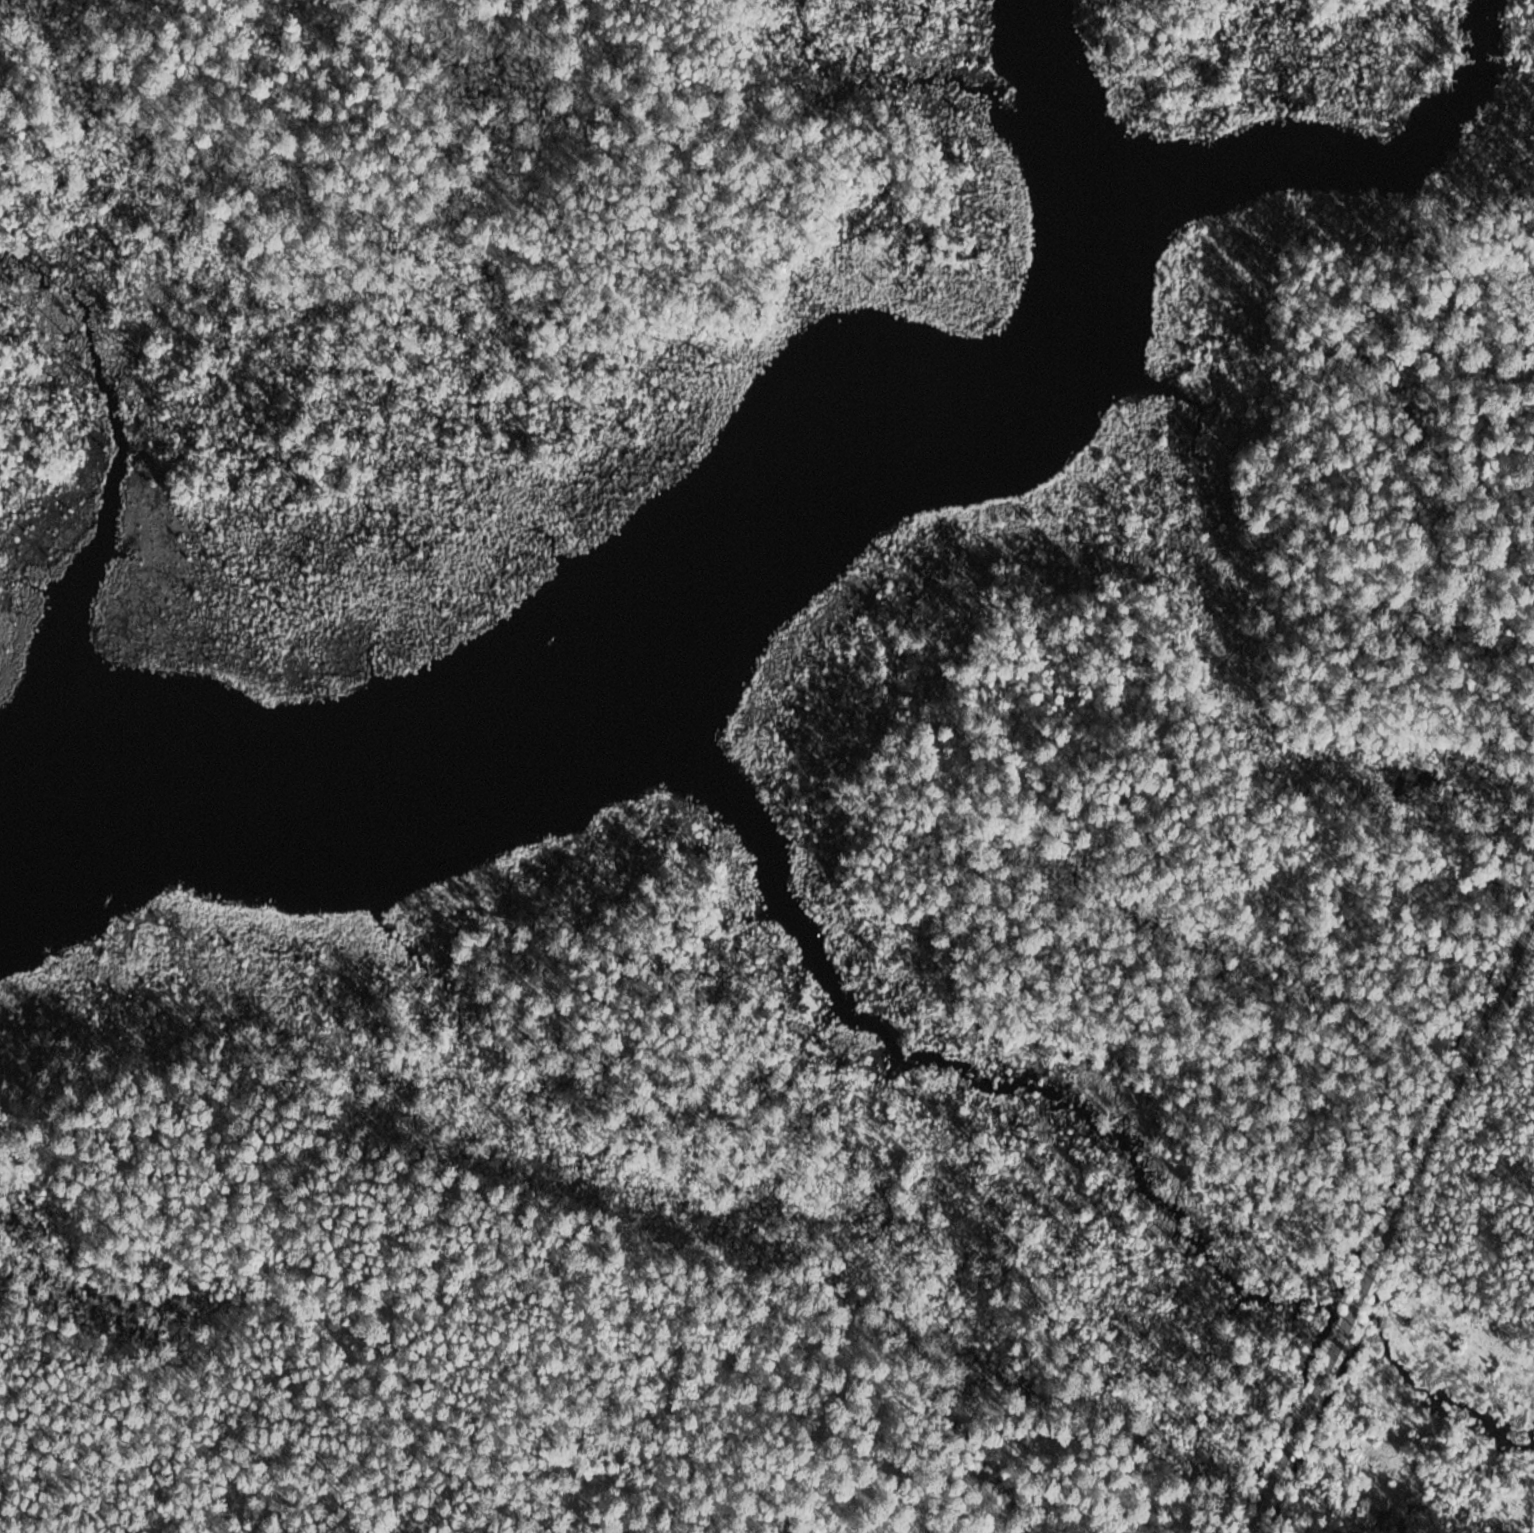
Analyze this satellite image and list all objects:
road: (1392, 1225)

